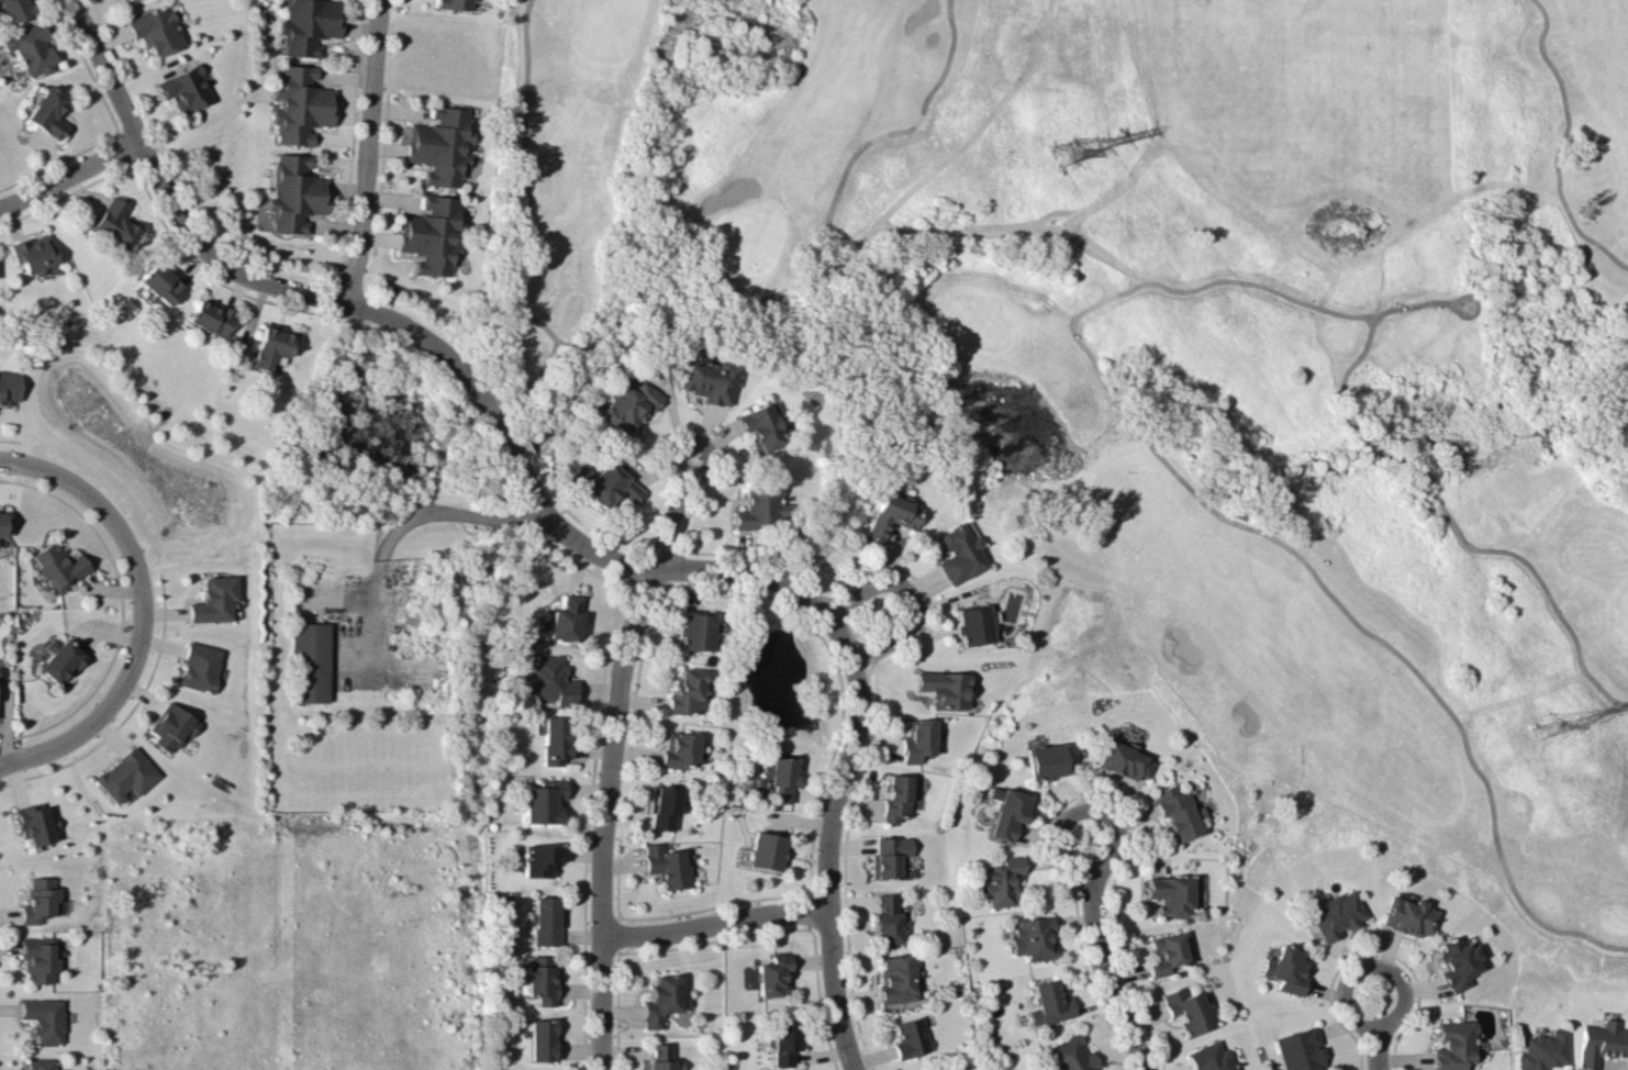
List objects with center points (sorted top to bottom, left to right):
building: (453, 4)
building: (14, 9)
building: (309, 24)
building: (156, 30)
building: (31, 47)
building: (186, 88)
building: (301, 103)
building: (48, 111)
building: (432, 141)
road: (1558, 143)
power tower: (1061, 149)
road: (367, 152)
road: (70, 172)
road: (524, 180)
building: (297, 192)
building: (115, 222)
building: (424, 232)
building: (34, 253)
road: (821, 261)
building: (161, 282)
road: (1465, 294)
road: (1407, 304)
road: (1461, 313)
building: (211, 316)
building: (272, 344)
road: (1346, 369)
building: (706, 379)
road: (529, 380)
building: (10, 387)
building: (628, 404)
building: (759, 426)
road: (441, 449)
building: (609, 484)
building: (762, 508)
road: (674, 511)
building: (891, 514)
building: (2, 523)
road: (1247, 525)
road: (395, 526)
road: (561, 528)
road: (1505, 549)
building: (959, 553)
building: (59, 565)
road: (912, 597)
building: (214, 599)
road: (143, 608)
building: (567, 617)
building: (973, 622)
building: (698, 629)
building: (58, 659)
building: (311, 661)
building: (200, 667)
building: (554, 680)
building: (944, 688)
building: (687, 691)
building: (171, 725)
power tower: (1546, 725)
building: (556, 738)
building: (916, 739)
building: (679, 748)
building: (1044, 758)
building: (1117, 758)
building: (126, 774)
building: (782, 777)
building: (896, 795)
building: (545, 800)
building: (664, 807)
building: (1007, 811)
building: (1175, 811)
road: (606, 814)
building: (36, 822)
building: (767, 849)
building: (888, 856)
building: (540, 859)
building: (1002, 880)
building: (1170, 892)
building: (38, 900)
building: (1338, 913)
building: (1407, 914)
building: (885, 918)
building: (547, 921)
road: (715, 922)
building: (1034, 937)
road: (1099, 948)
building: (1166, 952)
building: (1463, 957)
building: (38, 958)
building: (1286, 968)
building: (772, 974)
building: (896, 977)
building: (543, 979)
building: (665, 999)
building: (1050, 1002)
building: (1189, 1010)
building: (45, 1017)
road: (1373, 1025)
building: (910, 1036)
building: (543, 1038)
building: (1602, 1039)
building: (785, 1040)
building: (1454, 1045)
building: (1543, 1045)
building: (1301, 1050)
building: (1072, 1054)
building: (662, 1057)
building: (1209, 1057)
building: (41, 1063)

